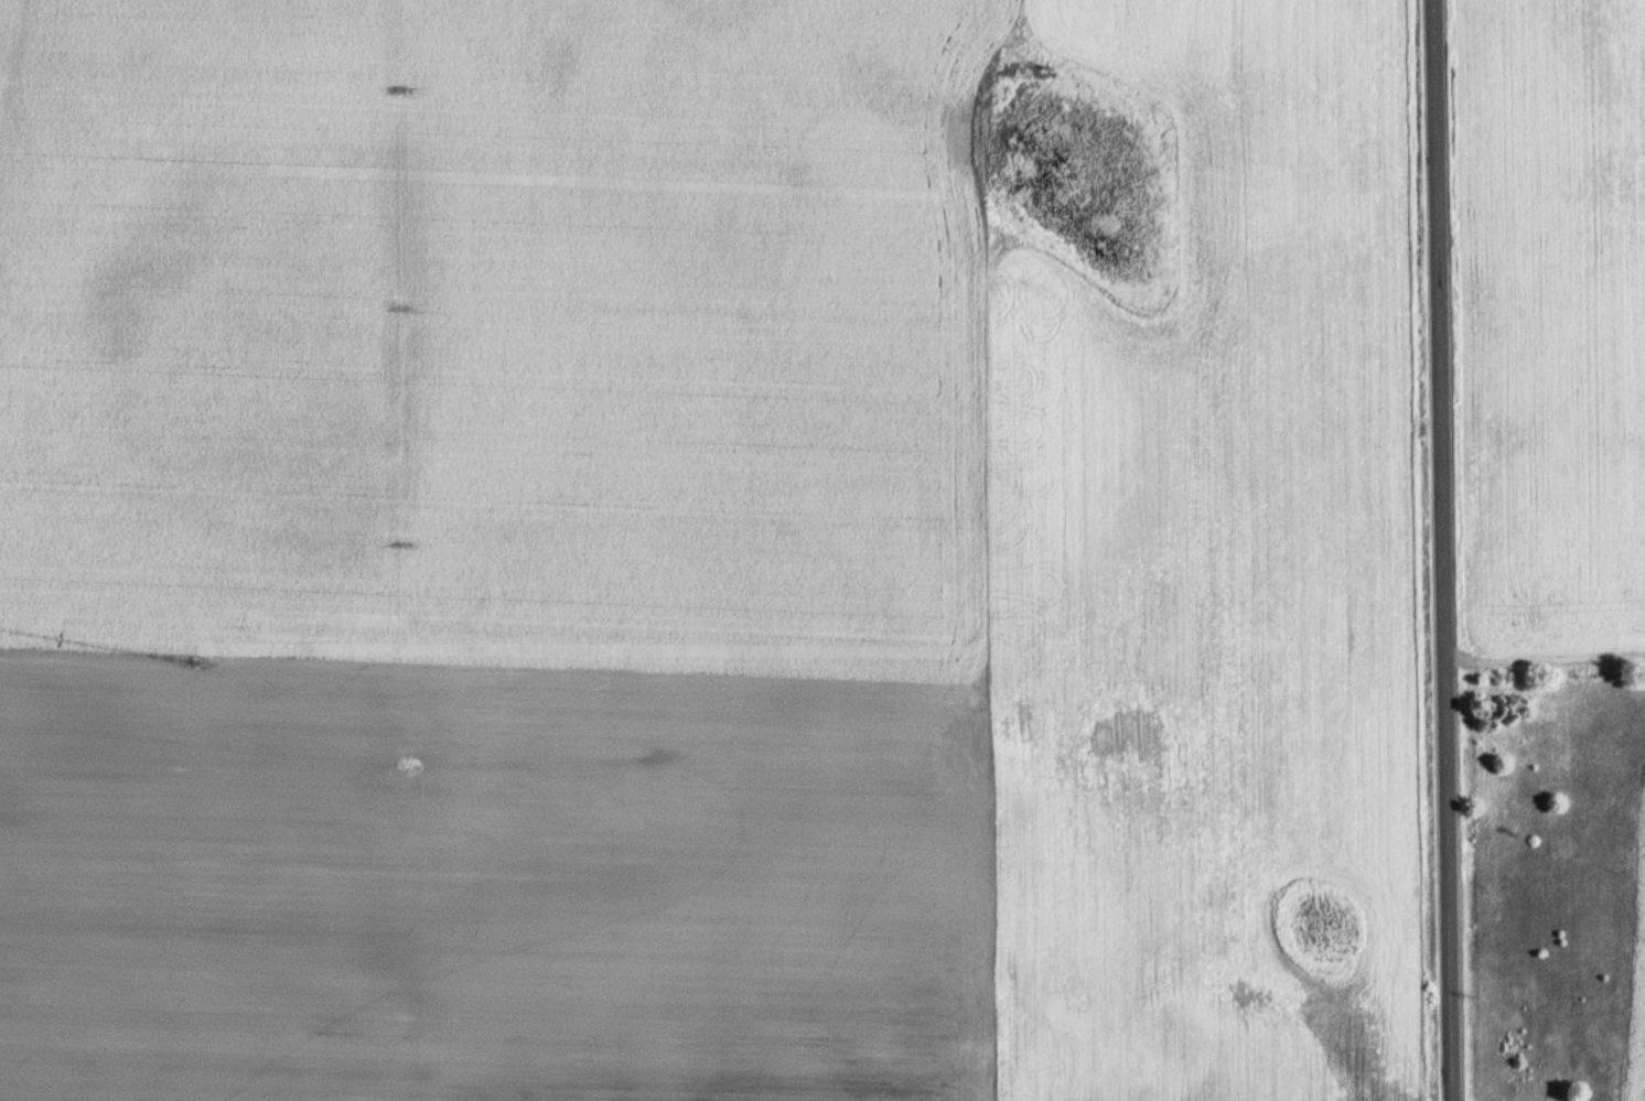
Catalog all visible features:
road: (1442, 550)

